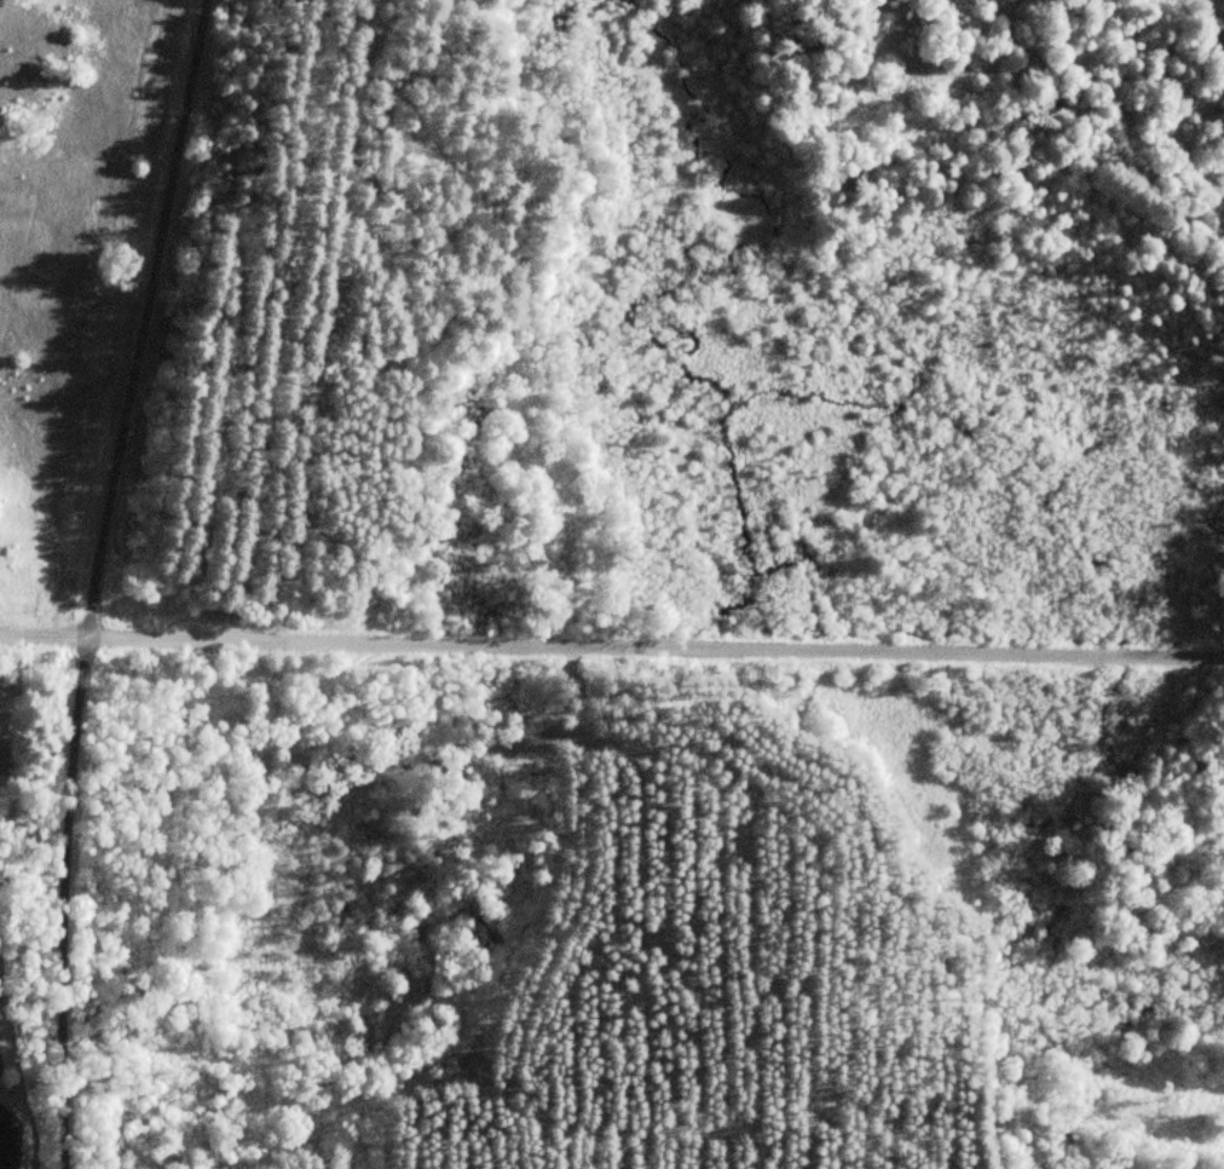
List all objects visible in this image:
road: (99, 580)
road: (611, 647)
road: (579, 888)
building: (1063, 1138)
road: (681, 1142)
road: (533, 1146)

